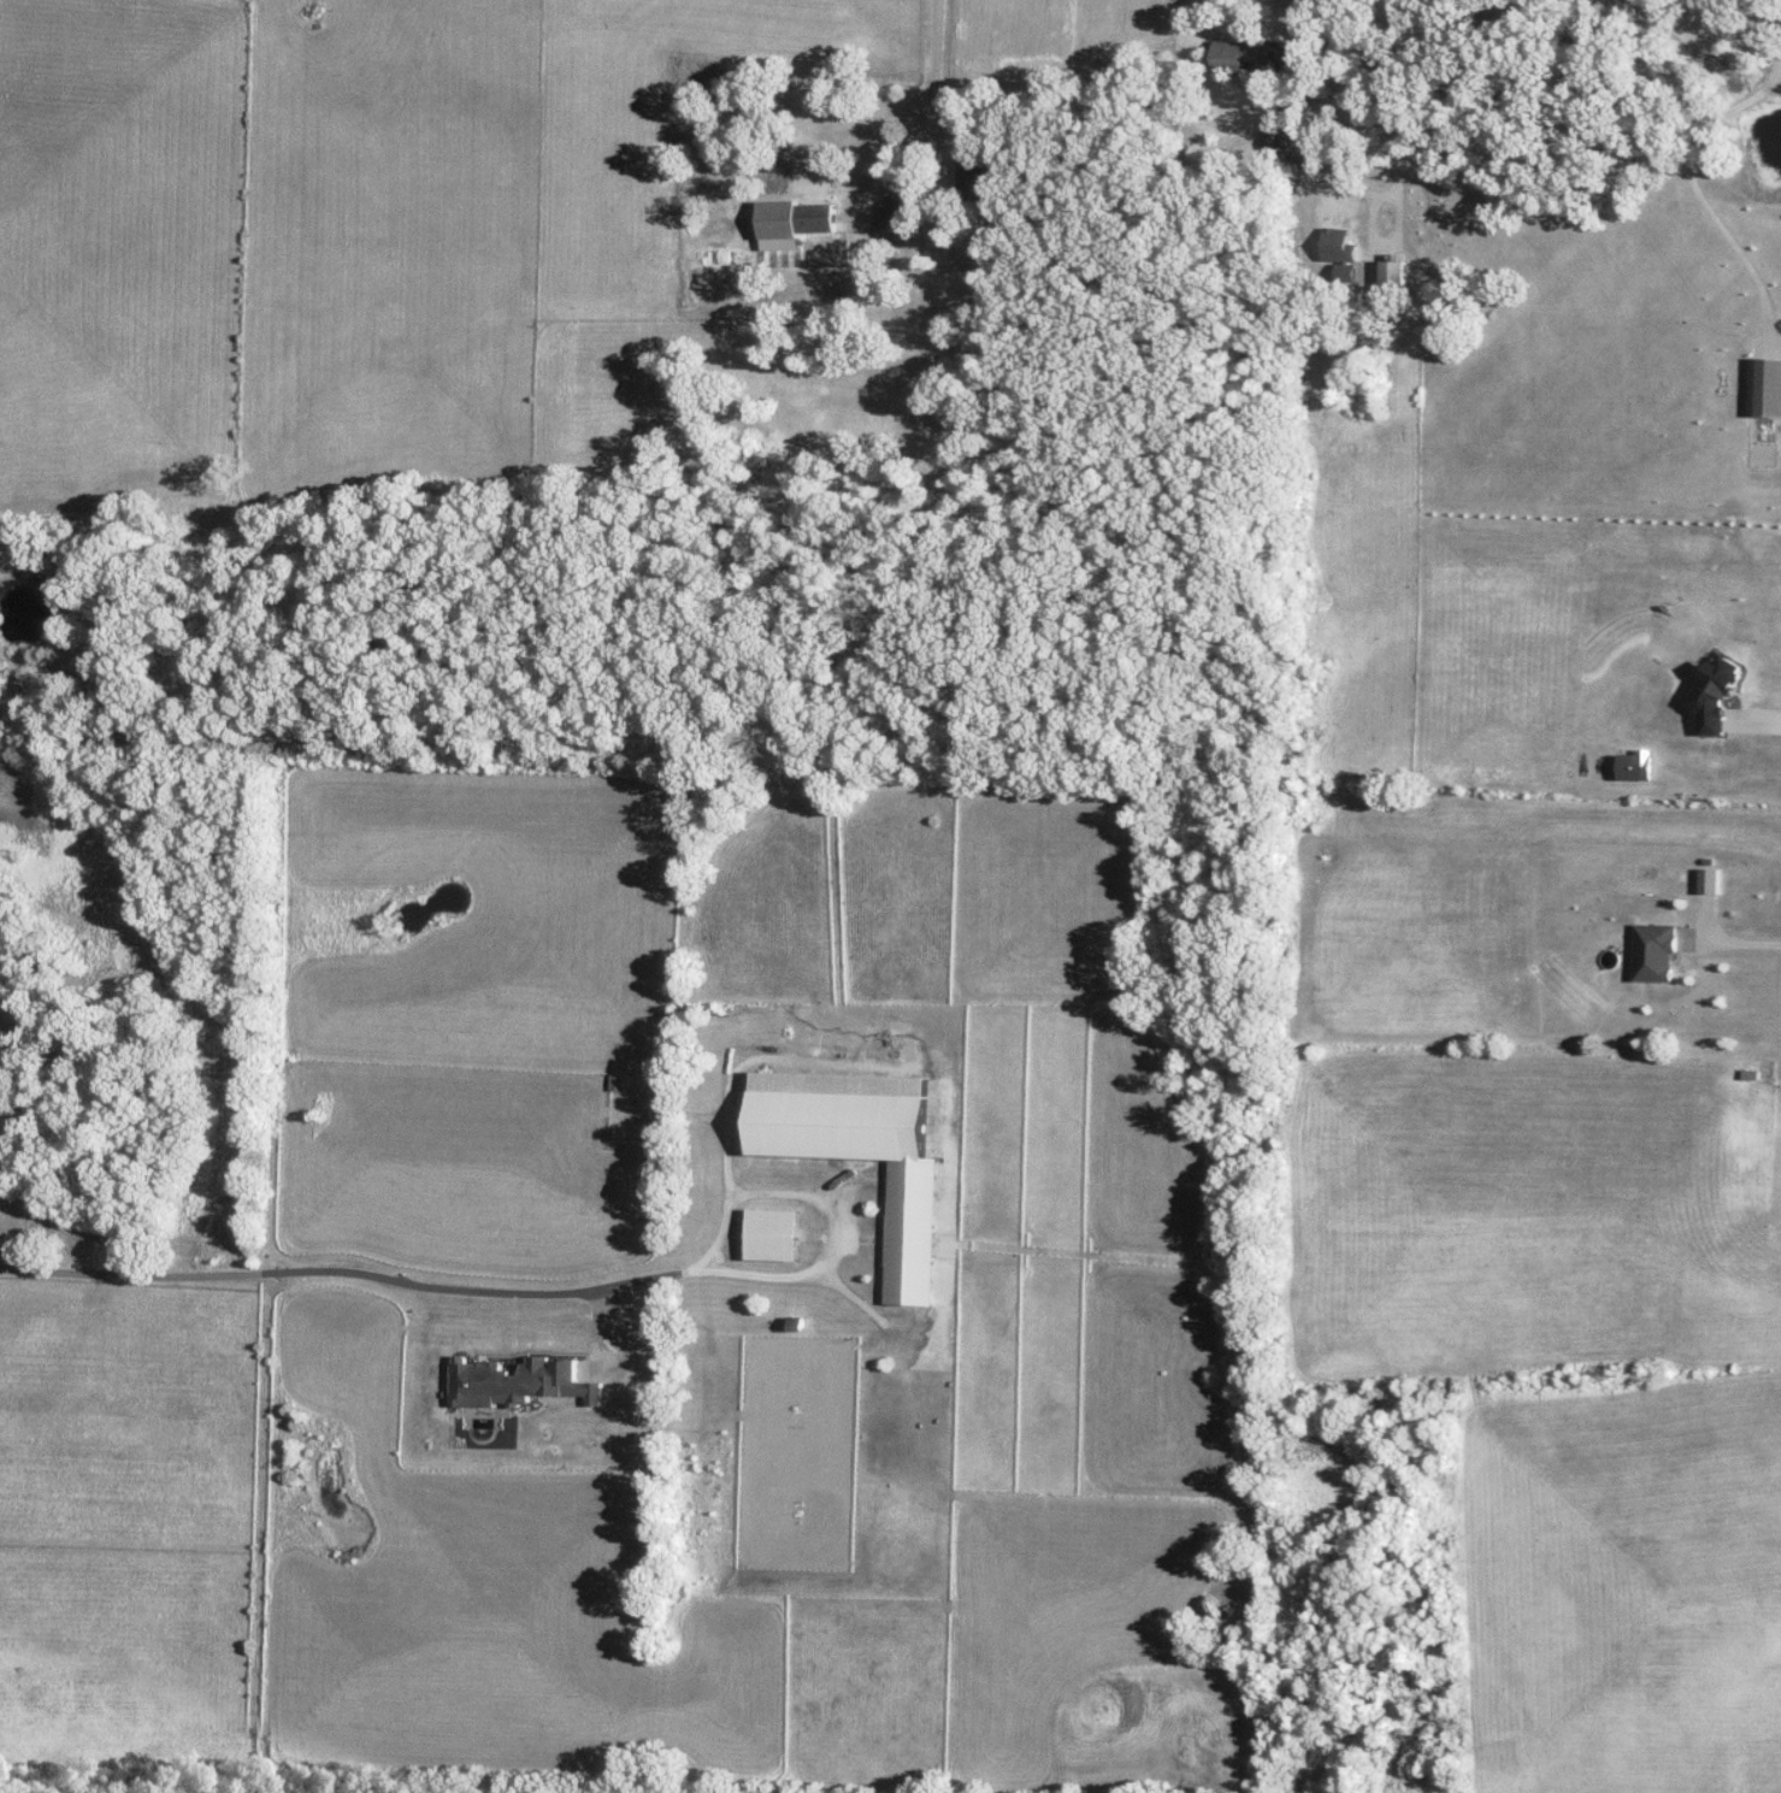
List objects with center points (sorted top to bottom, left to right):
building: (1233, 54)
road: (933, 65)
building: (1274, 138)
building: (981, 173)
road: (1362, 188)
building: (890, 216)
building: (794, 222)
building: (1338, 244)
building: (1391, 285)
building: (1769, 387)
road: (1752, 721)
road: (1729, 942)
building: (4, 1089)
building: (644, 1110)
building: (866, 1152)
building: (777, 1234)
road: (143, 1270)
road: (679, 1272)
building: (521, 1381)

